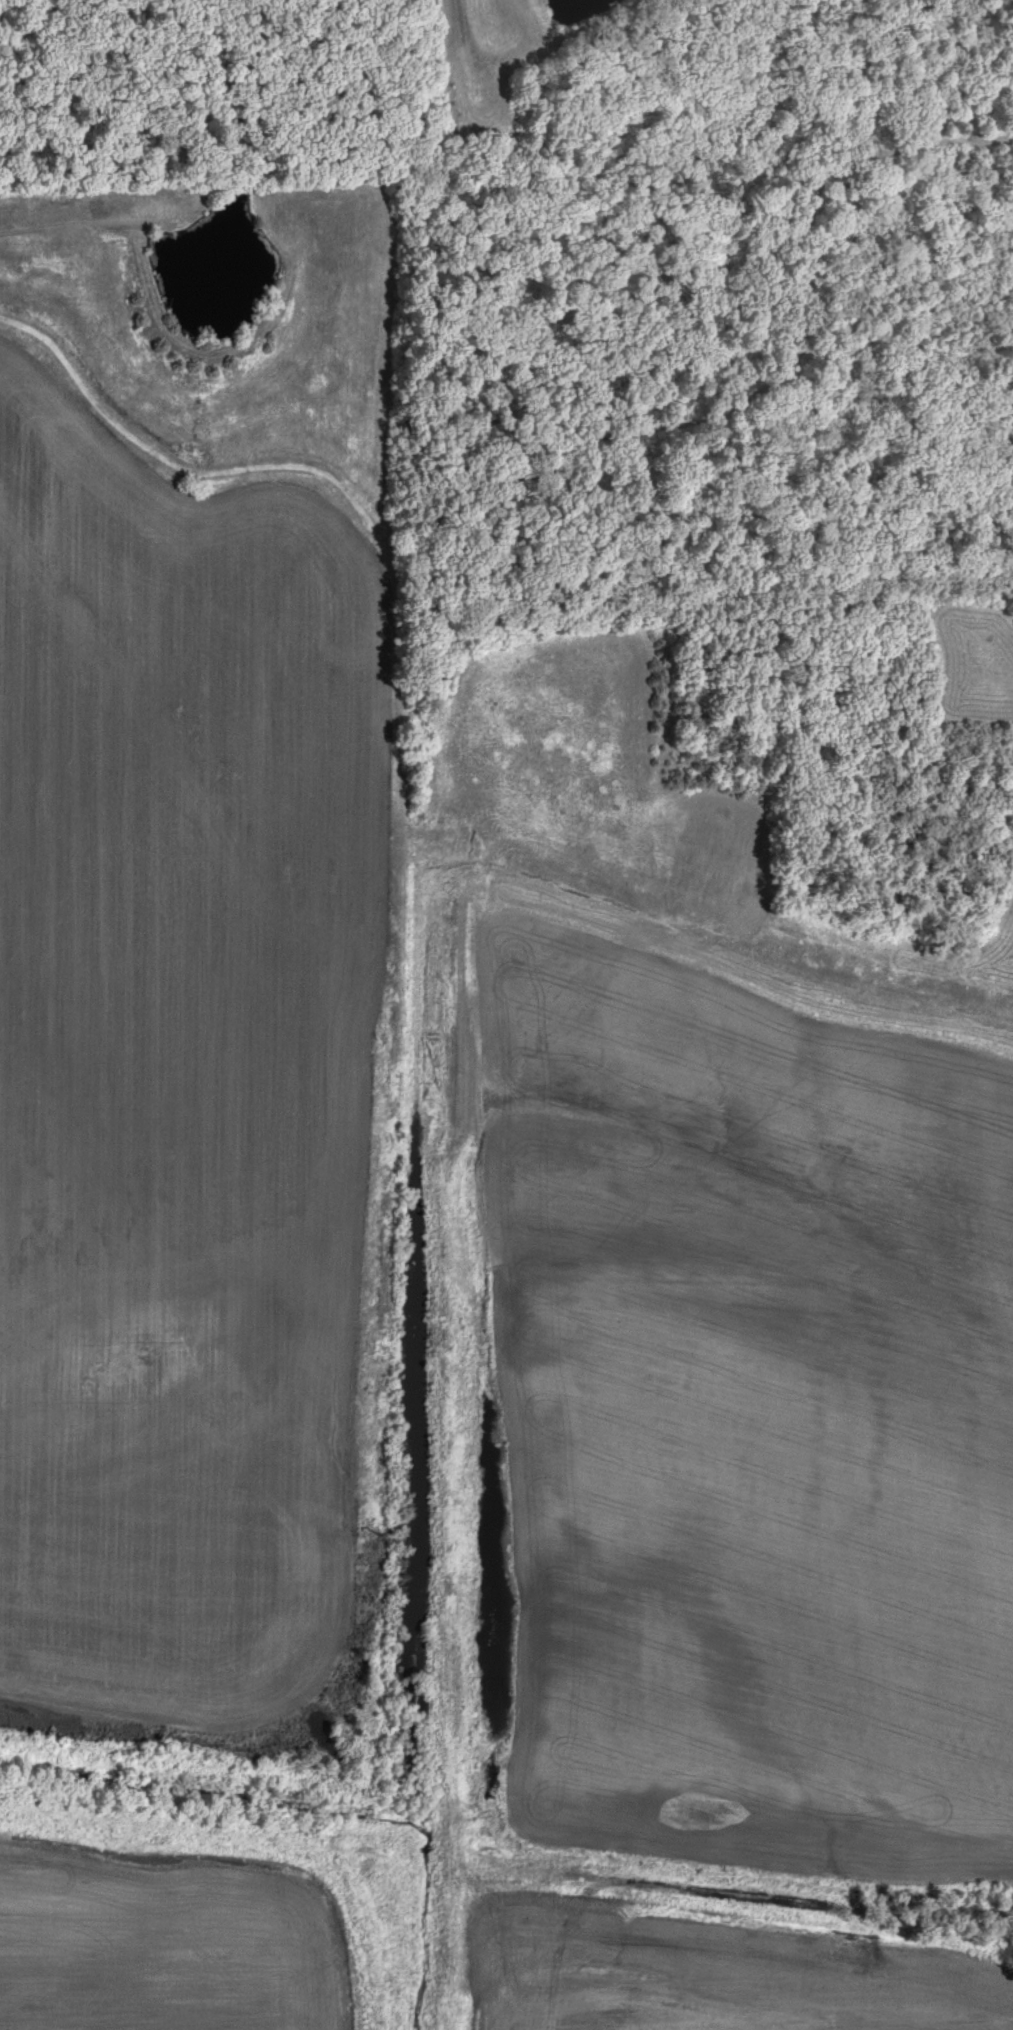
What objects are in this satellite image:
crop: (181, 1071)
crop: (728, 1289)
crop: (155, 1953)
crop: (714, 1974)

